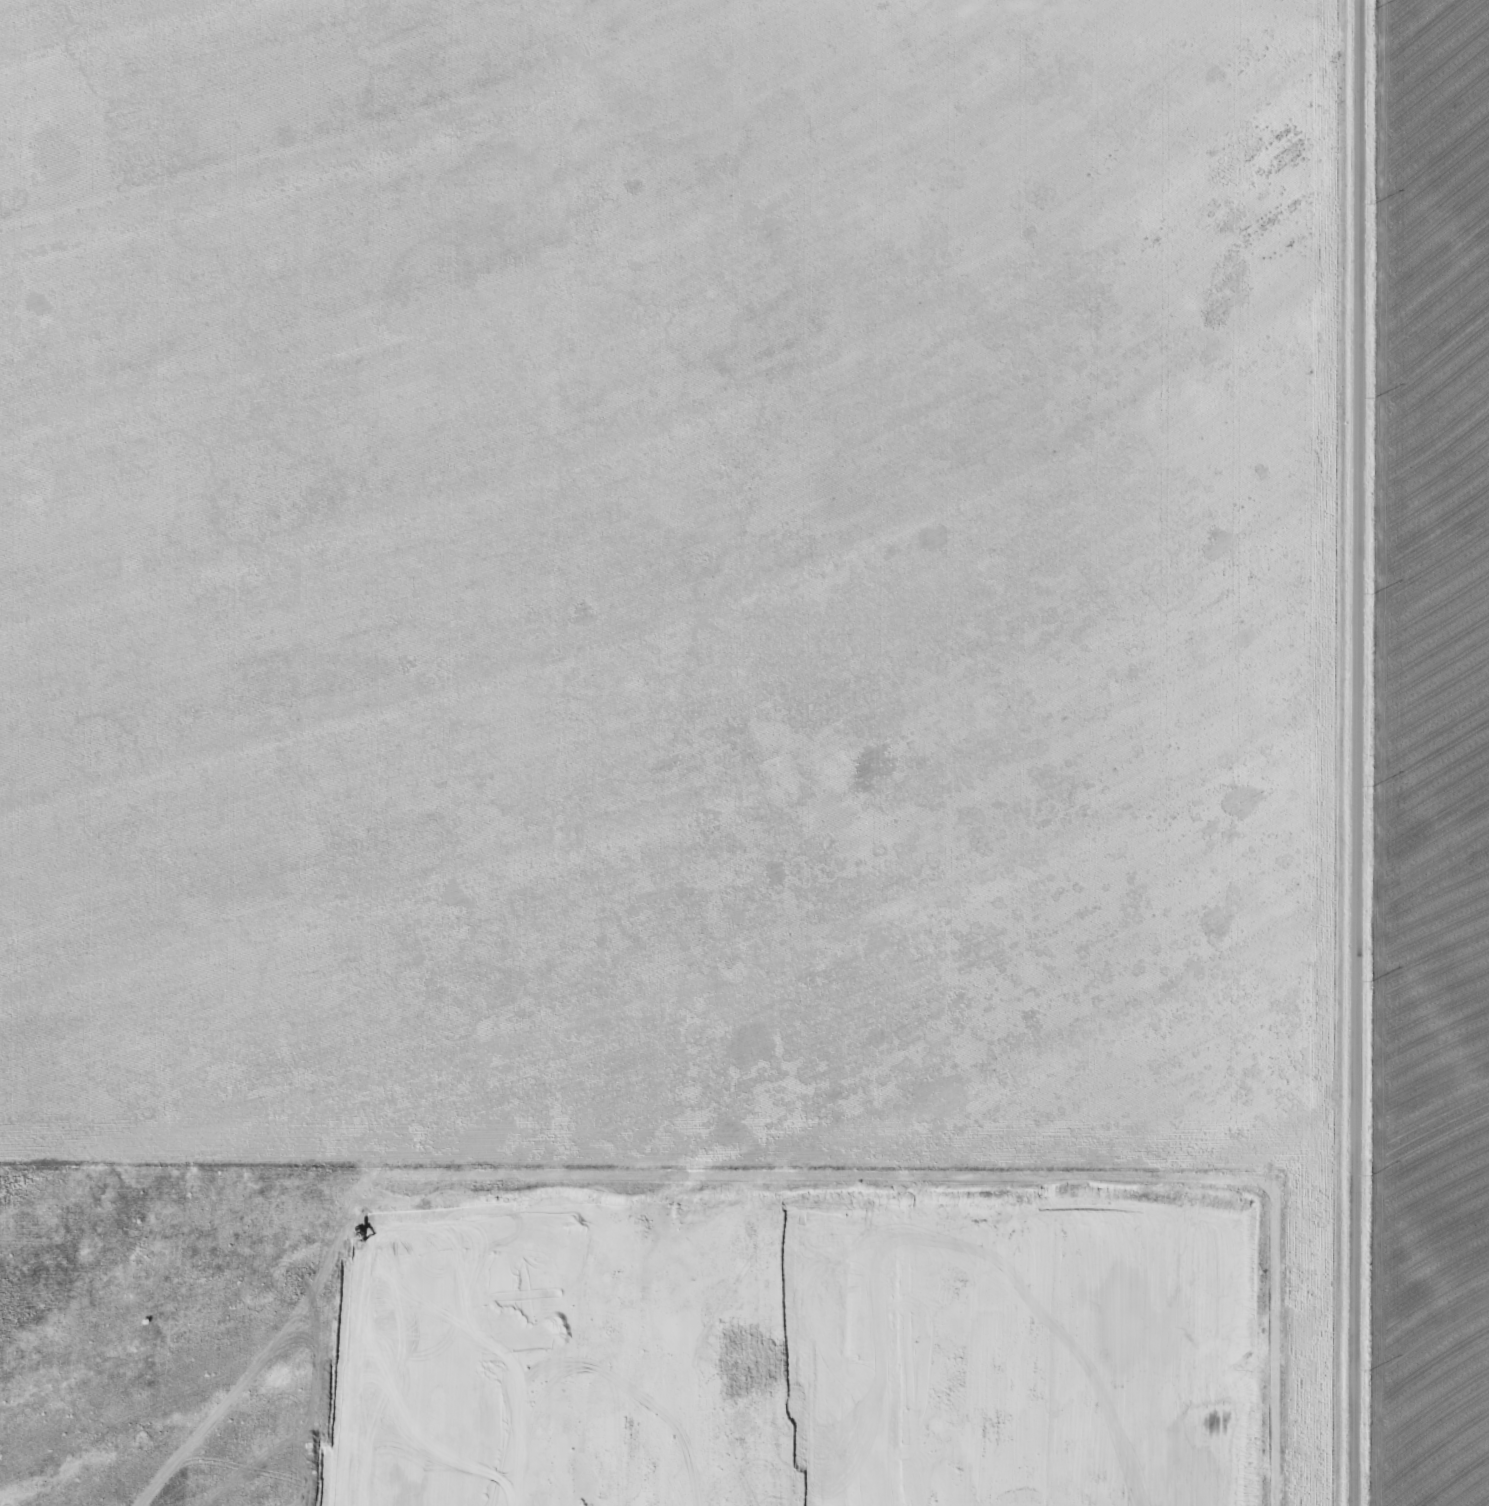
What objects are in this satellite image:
road: (1355, 753)

